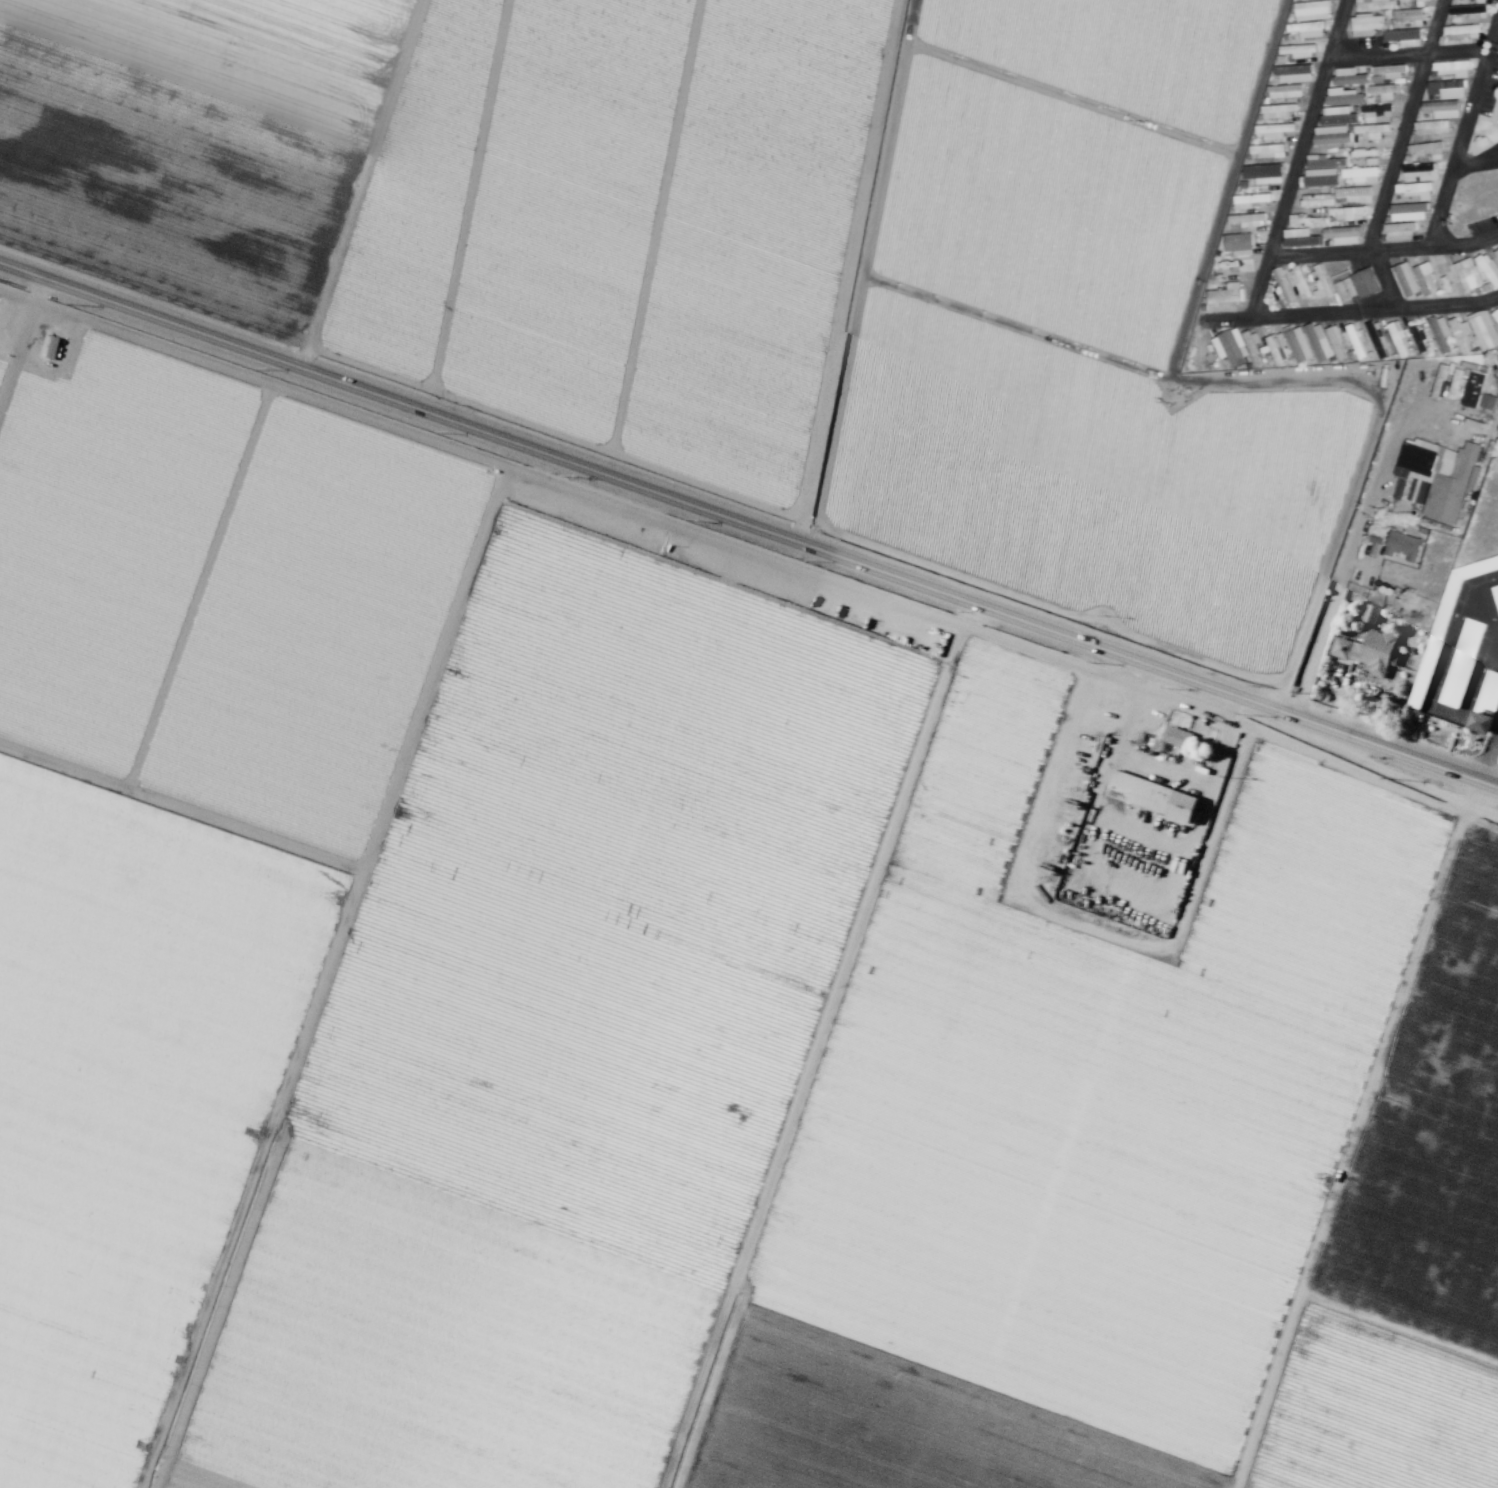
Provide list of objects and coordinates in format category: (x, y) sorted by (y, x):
building: (1420, 3)
building: (1374, 4)
building: (1313, 10)
building: (1467, 10)
building: (1409, 16)
building: (1365, 23)
building: (1308, 29)
building: (1462, 32)
building: (1403, 37)
building: (1299, 50)
road: (1411, 52)
building: (1452, 68)
building: (1390, 71)
building: (1294, 73)
building: (1349, 76)
building: (1446, 89)
building: (1285, 91)
building: (1383, 91)
building: (1343, 96)
building: (1442, 109)
building: (1277, 110)
building: (1375, 112)
building: (1338, 115)
road: (1405, 126)
building: (1432, 127)
building: (1274, 130)
building: (1370, 130)
building: (1331, 135)
road: (1464, 141)
building: (1268, 150)
building: (1364, 153)
building: (1324, 161)
building: (1421, 171)
building: (1264, 173)
building: (1360, 175)
building: (1320, 177)
building: (1415, 190)
building: (1354, 194)
building: (1250, 200)
building: (1316, 200)
building: (1409, 211)
building: (1247, 219)
building: (1306, 221)
building: (1400, 229)
building: (1343, 235)
building: (1300, 238)
building: (1238, 242)
road: (1383, 251)
building: (1496, 252)
building: (1489, 268)
road: (1263, 271)
building: (1425, 278)
building: (1405, 279)
building: (1300, 282)
building: (1365, 282)
building: (1349, 287)
building: (1322, 288)
building: (1227, 295)
building: (1495, 315)
building: (1484, 330)
building: (1440, 332)
building: (1461, 334)
road: (19, 335)
building: (1398, 338)
building: (1419, 338)
building: (1378, 339)
building: (1319, 341)
building: (1336, 341)
building: (1355, 341)
building: (1298, 345)
building: (1277, 346)
building: (1231, 347)
building: (1473, 389)
building: (1488, 401)
building: (1474, 426)
road: (750, 526)
building: (1403, 545)
road: (751, 553)
road: (1345, 566)
building: (1495, 593)
building: (1369, 614)
building: (1438, 629)
building: (1369, 651)
building: (1461, 662)
building: (1485, 703)
building: (1174, 736)
crop: (697, 774)
building: (1154, 796)
road: (1125, 877)
road: (321, 976)
road: (806, 1056)
road: (1352, 1152)
road: (1402, 1324)

